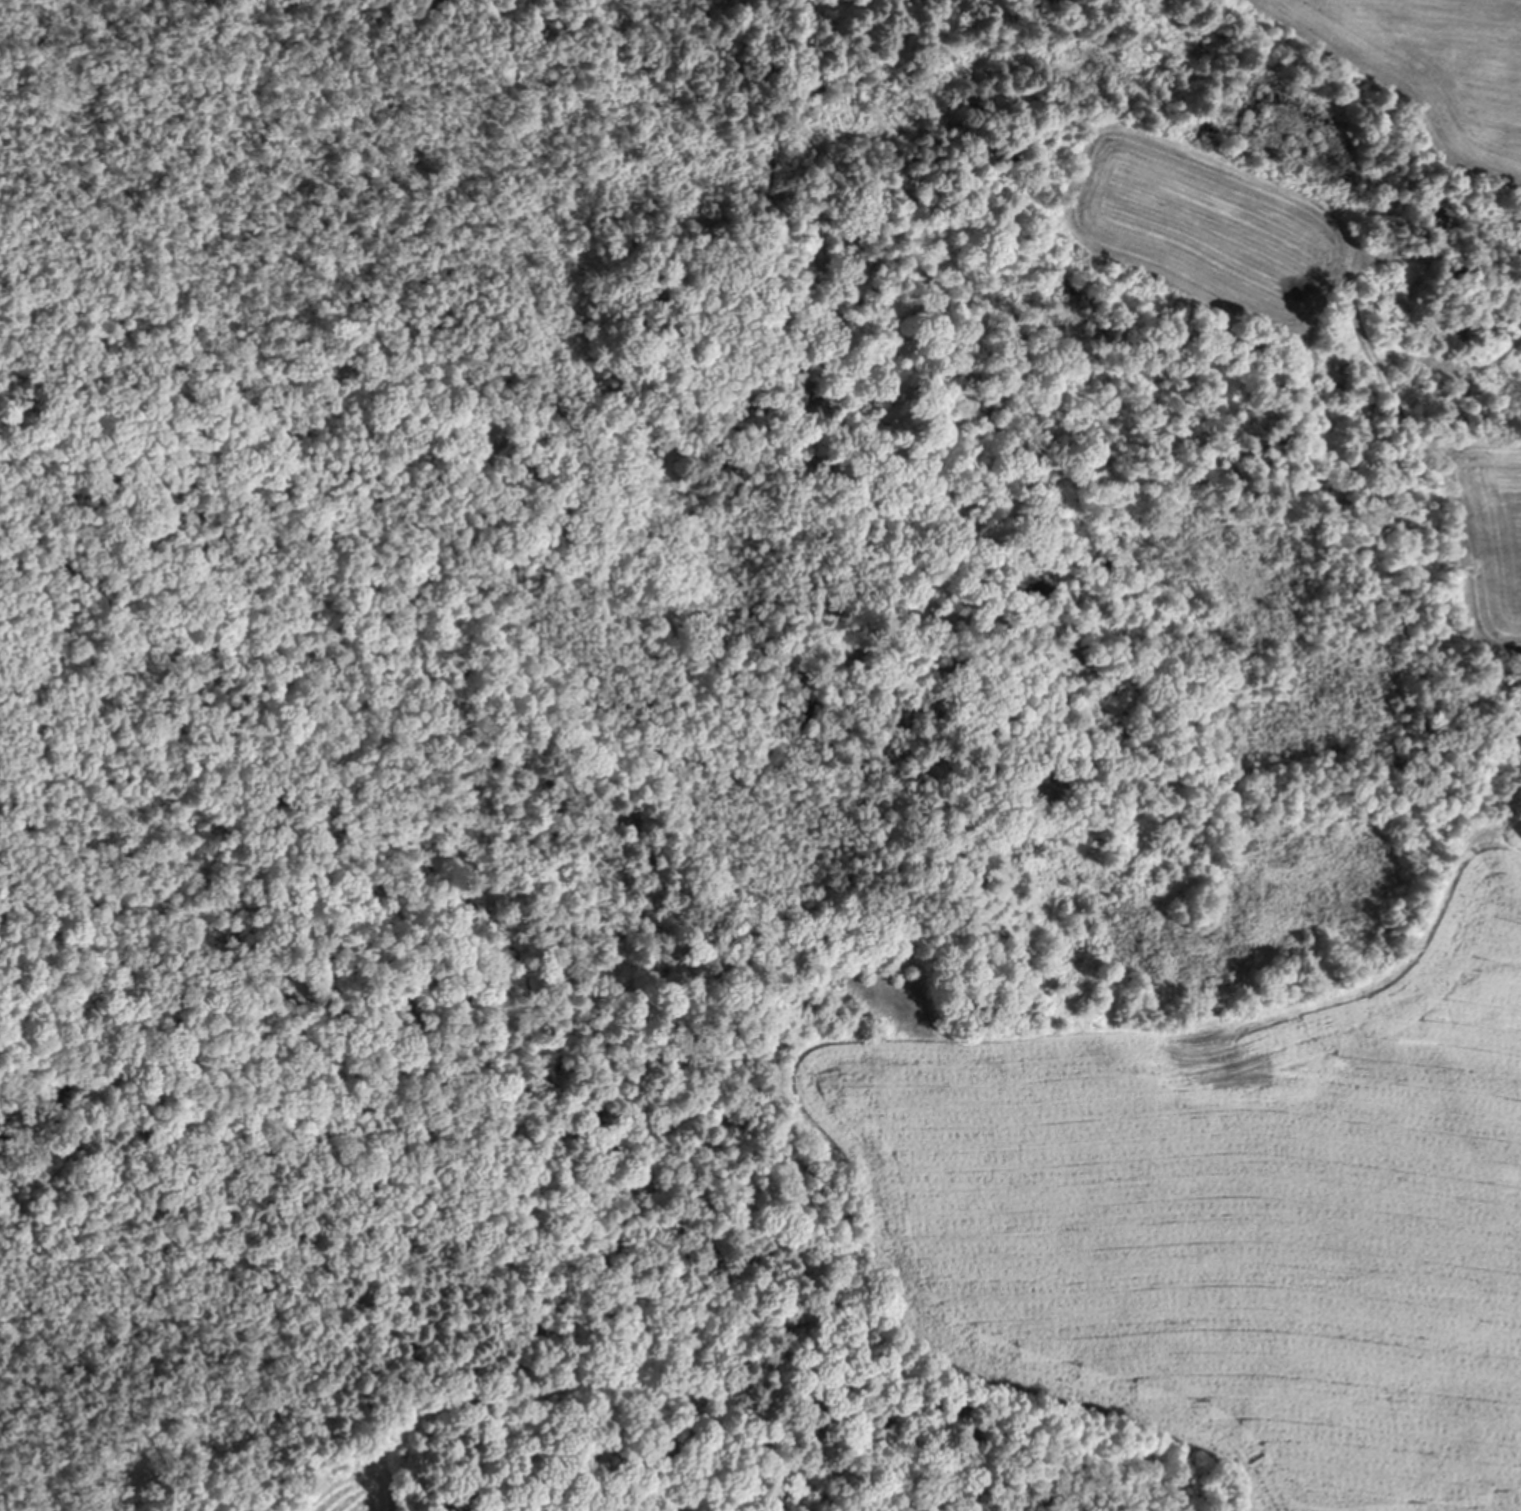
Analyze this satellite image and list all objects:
building: (530, 674)

